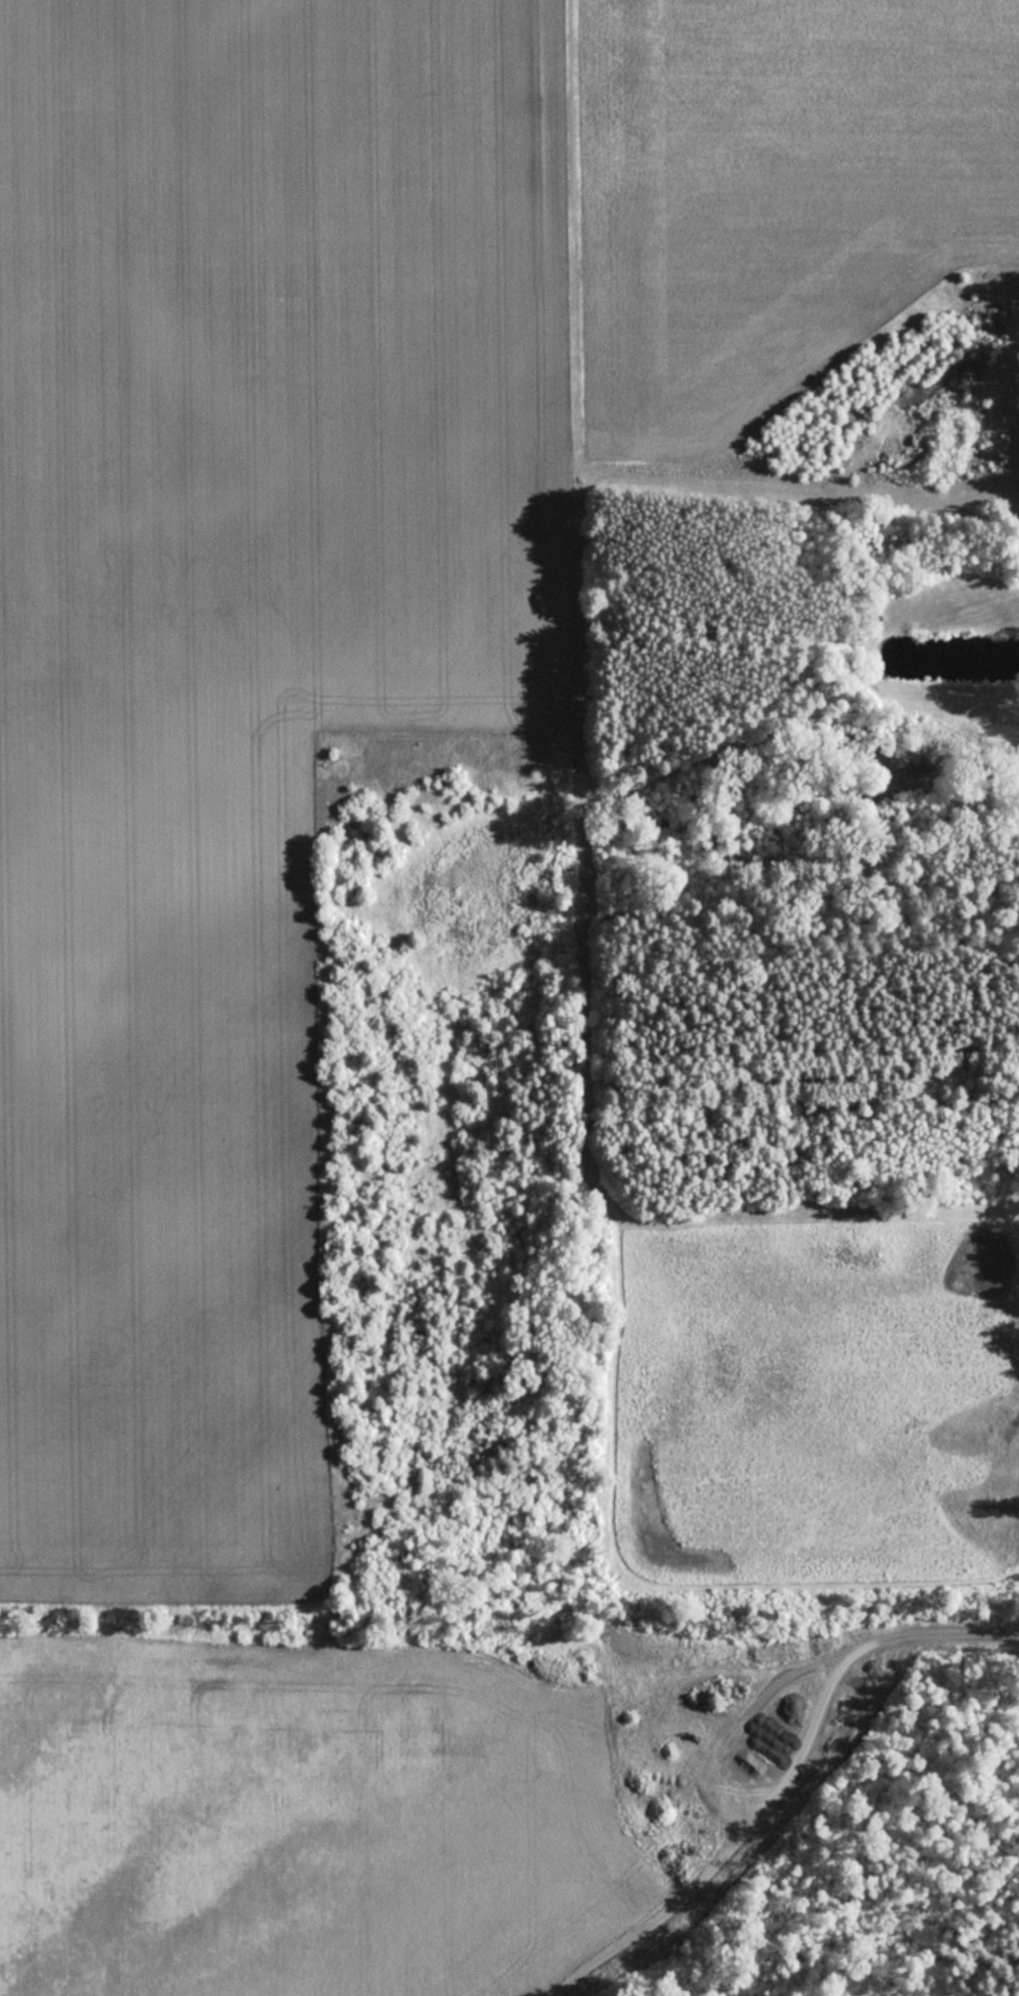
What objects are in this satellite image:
road: (580, 543)

